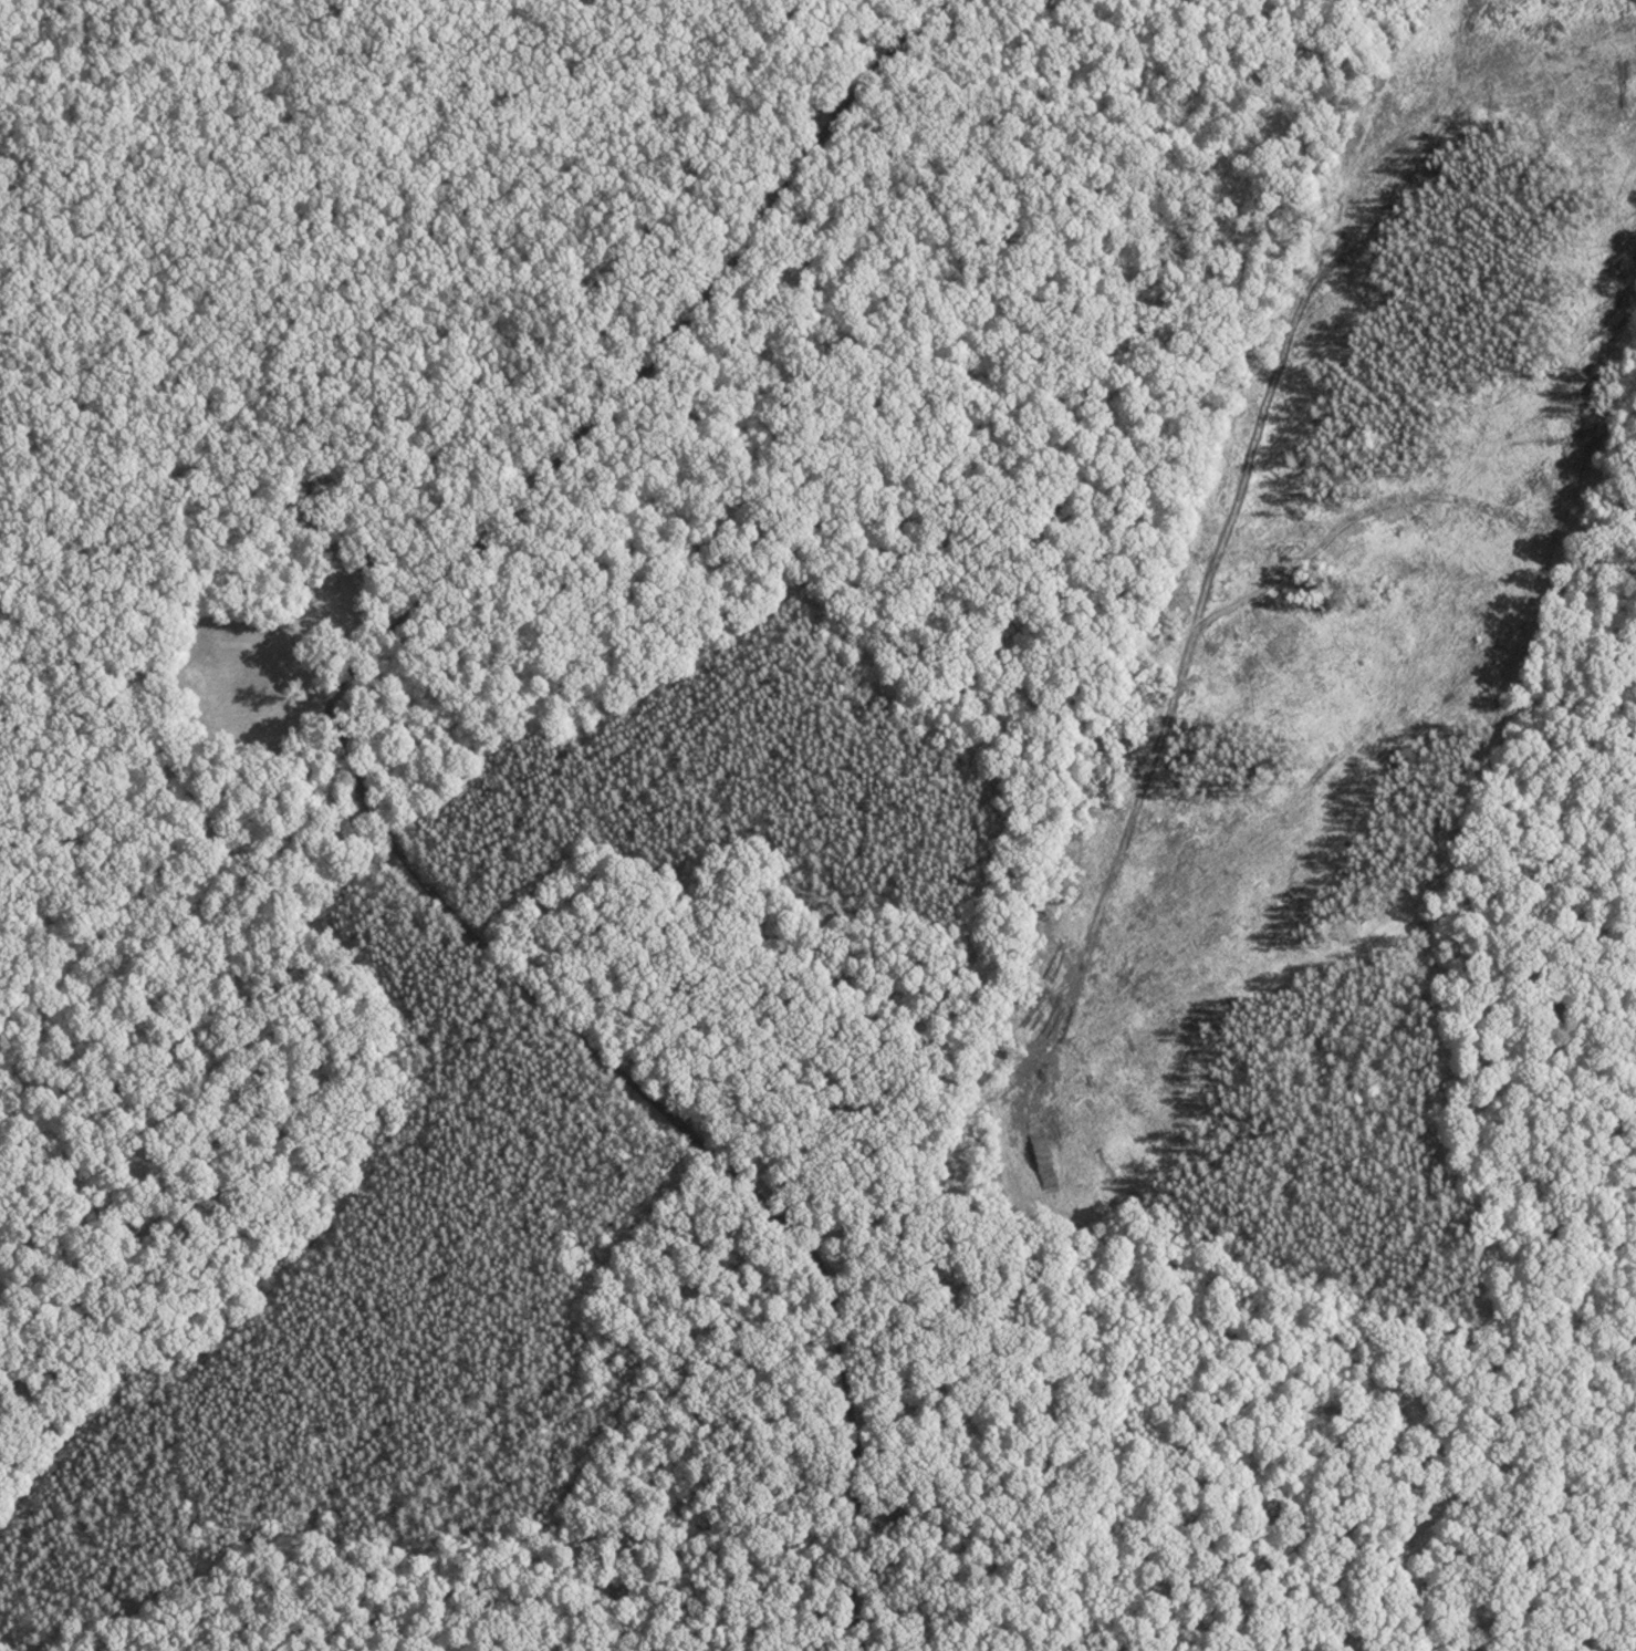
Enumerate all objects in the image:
road: (692, 313)
road: (183, 824)
road: (544, 1181)

